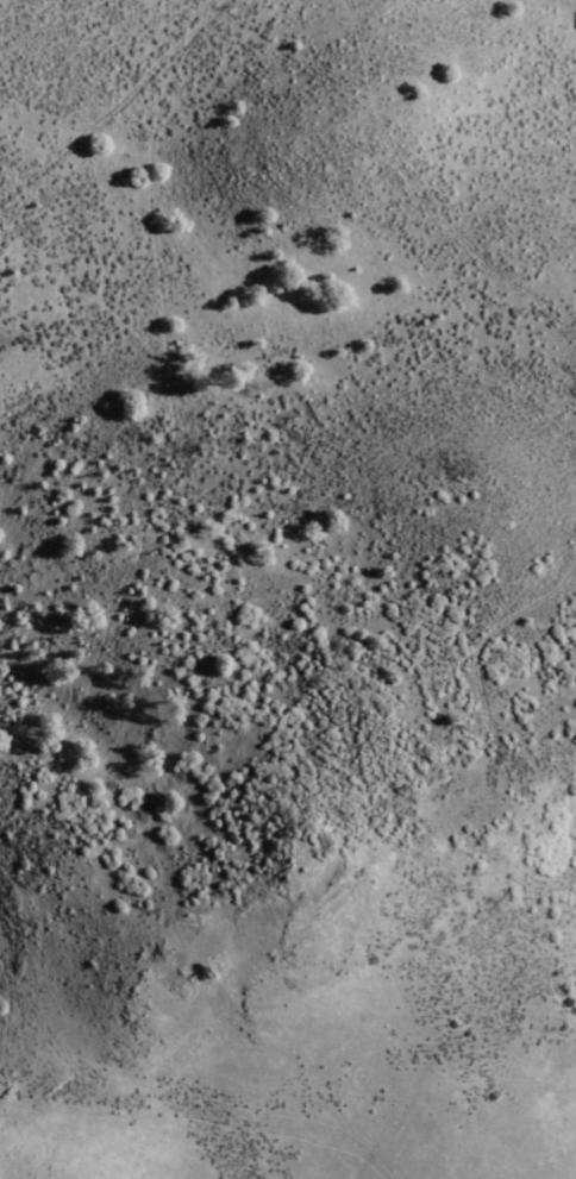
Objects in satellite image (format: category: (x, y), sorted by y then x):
road: (114, 101)

